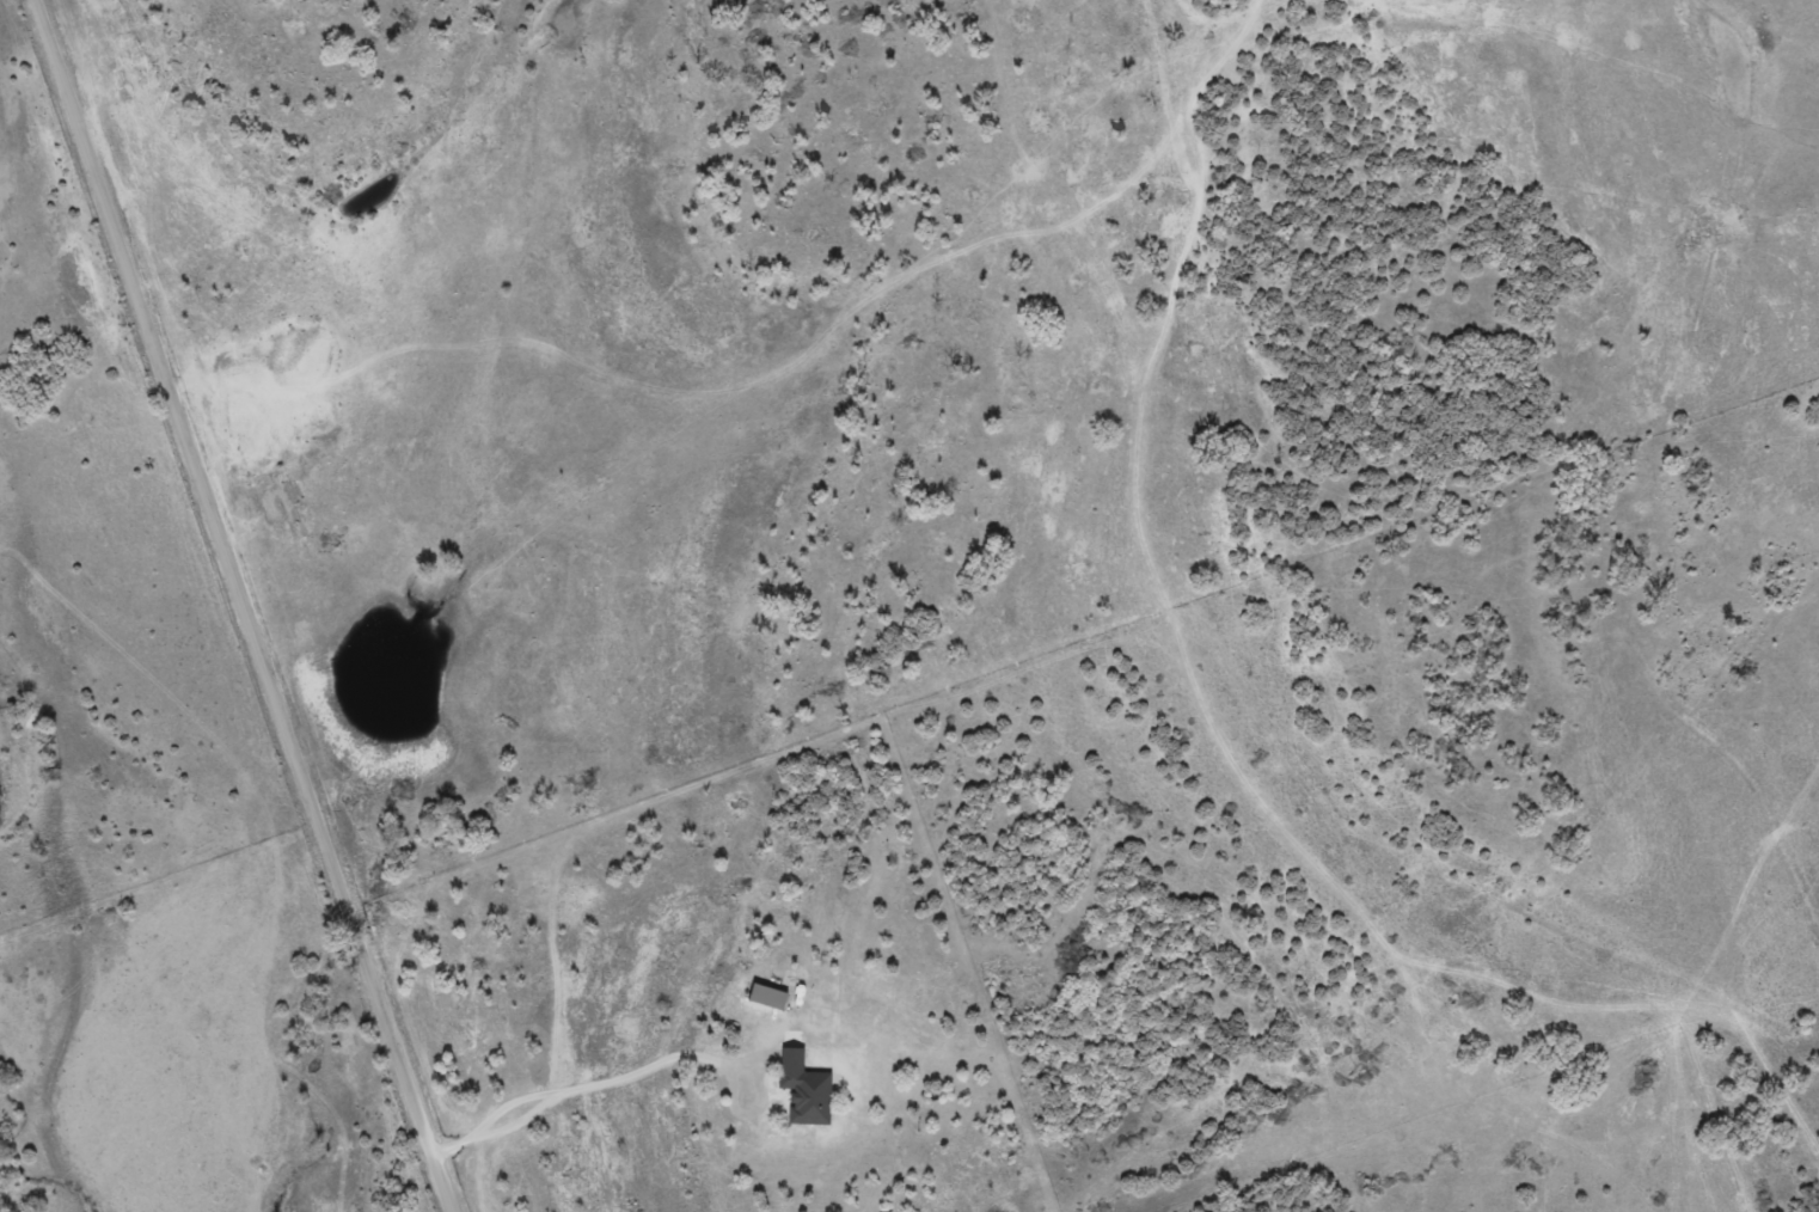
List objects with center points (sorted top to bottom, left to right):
road: (233, 606)

